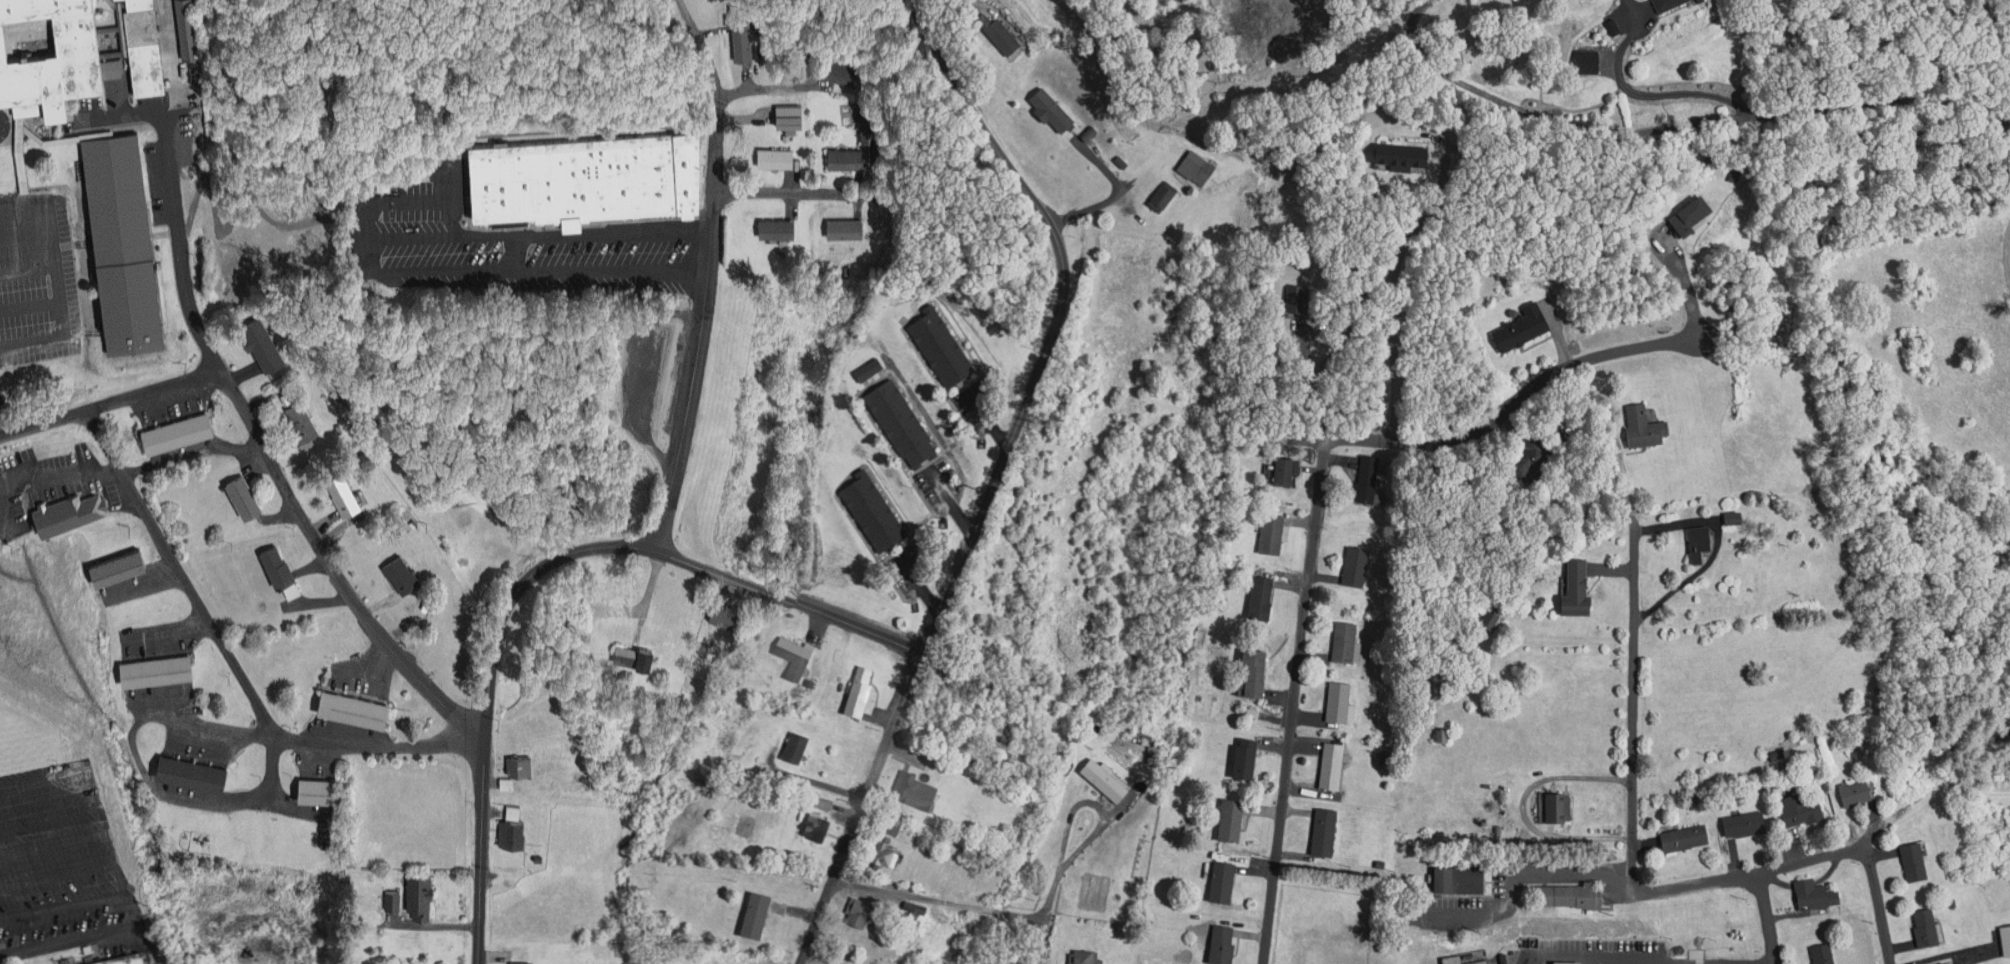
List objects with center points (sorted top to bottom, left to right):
building: (1670, 5)
building: (185, 24)
building: (1613, 25)
building: (102, 26)
building: (740, 26)
building: (26, 30)
building: (999, 33)
road: (931, 36)
building: (140, 45)
park: (483, 54)
building: (52, 56)
building: (1587, 61)
building: (842, 67)
building: (1051, 107)
road: (1675, 125)
building: (868, 127)
building: (774, 151)
building: (846, 153)
building: (1402, 154)
building: (1198, 166)
building: (1735, 173)
building: (596, 177)
road: (798, 188)
building: (1163, 195)
building: (1690, 216)
building: (775, 221)
building: (845, 224)
road: (253, 230)
building: (123, 238)
road: (183, 249)
road: (708, 271)
building: (1297, 297)
building: (1524, 325)
building: (261, 338)
building: (941, 348)
building: (868, 370)
road: (1513, 400)
road: (107, 407)
building: (300, 414)
building: (900, 423)
building: (1645, 424)
building: (174, 425)
building: (364, 452)
building: (1529, 456)
building: (1284, 468)
building: (1368, 478)
building: (341, 488)
building: (242, 491)
building: (66, 507)
road: (978, 510)
building: (872, 511)
building: (1736, 517)
building: (1273, 532)
building: (1700, 541)
building: (276, 559)
building: (120, 561)
road: (333, 564)
building: (1356, 565)
road: (537, 567)
building: (398, 569)
road: (182, 572)
building: (1578, 587)
building: (613, 595)
building: (1262, 595)
building: (723, 606)
building: (1491, 618)
building: (1345, 641)
building: (702, 642)
building: (632, 650)
building: (794, 654)
building: (155, 663)
building: (1256, 670)
building: (859, 689)
road: (1633, 701)
building: (352, 702)
road: (1291, 702)
building: (1341, 703)
building: (1443, 734)
road: (315, 741)
building: (794, 747)
building: (1778, 753)
building: (1247, 758)
building: (518, 760)
building: (1331, 763)
building: (191, 768)
building: (1104, 778)
building: (319, 784)
building: (915, 789)
building: (1856, 791)
building: (1698, 797)
building: (820, 801)
building: (513, 808)
building: (1558, 809)
building: (1801, 810)
building: (1231, 820)
building: (893, 823)
building: (1746, 823)
building: (815, 826)
building: (510, 828)
building: (1326, 830)
building: (1686, 836)
building: (884, 858)
building: (1915, 861)
road: (1784, 864)
road: (1513, 876)
building: (1459, 879)
building: (1223, 881)
building: (417, 891)
parking lot: (1509, 892)
building: (1816, 893)
building: (392, 894)
building: (1569, 894)
road: (938, 900)
road: (1872, 902)
building: (914, 907)
building: (861, 912)
building: (757, 916)
road: (1766, 916)
building: (1929, 927)
building: (2008, 938)
building: (1223, 944)
road: (1040, 945)
parking lot: (1606, 949)
building: (1823, 952)
building: (1086, 957)
building: (1466, 957)
building: (125, 960)
road: (1597, 960)
building: (521, 961)
building: (1944, 962)
building: (1570, 963)
road: (1765, 963)

